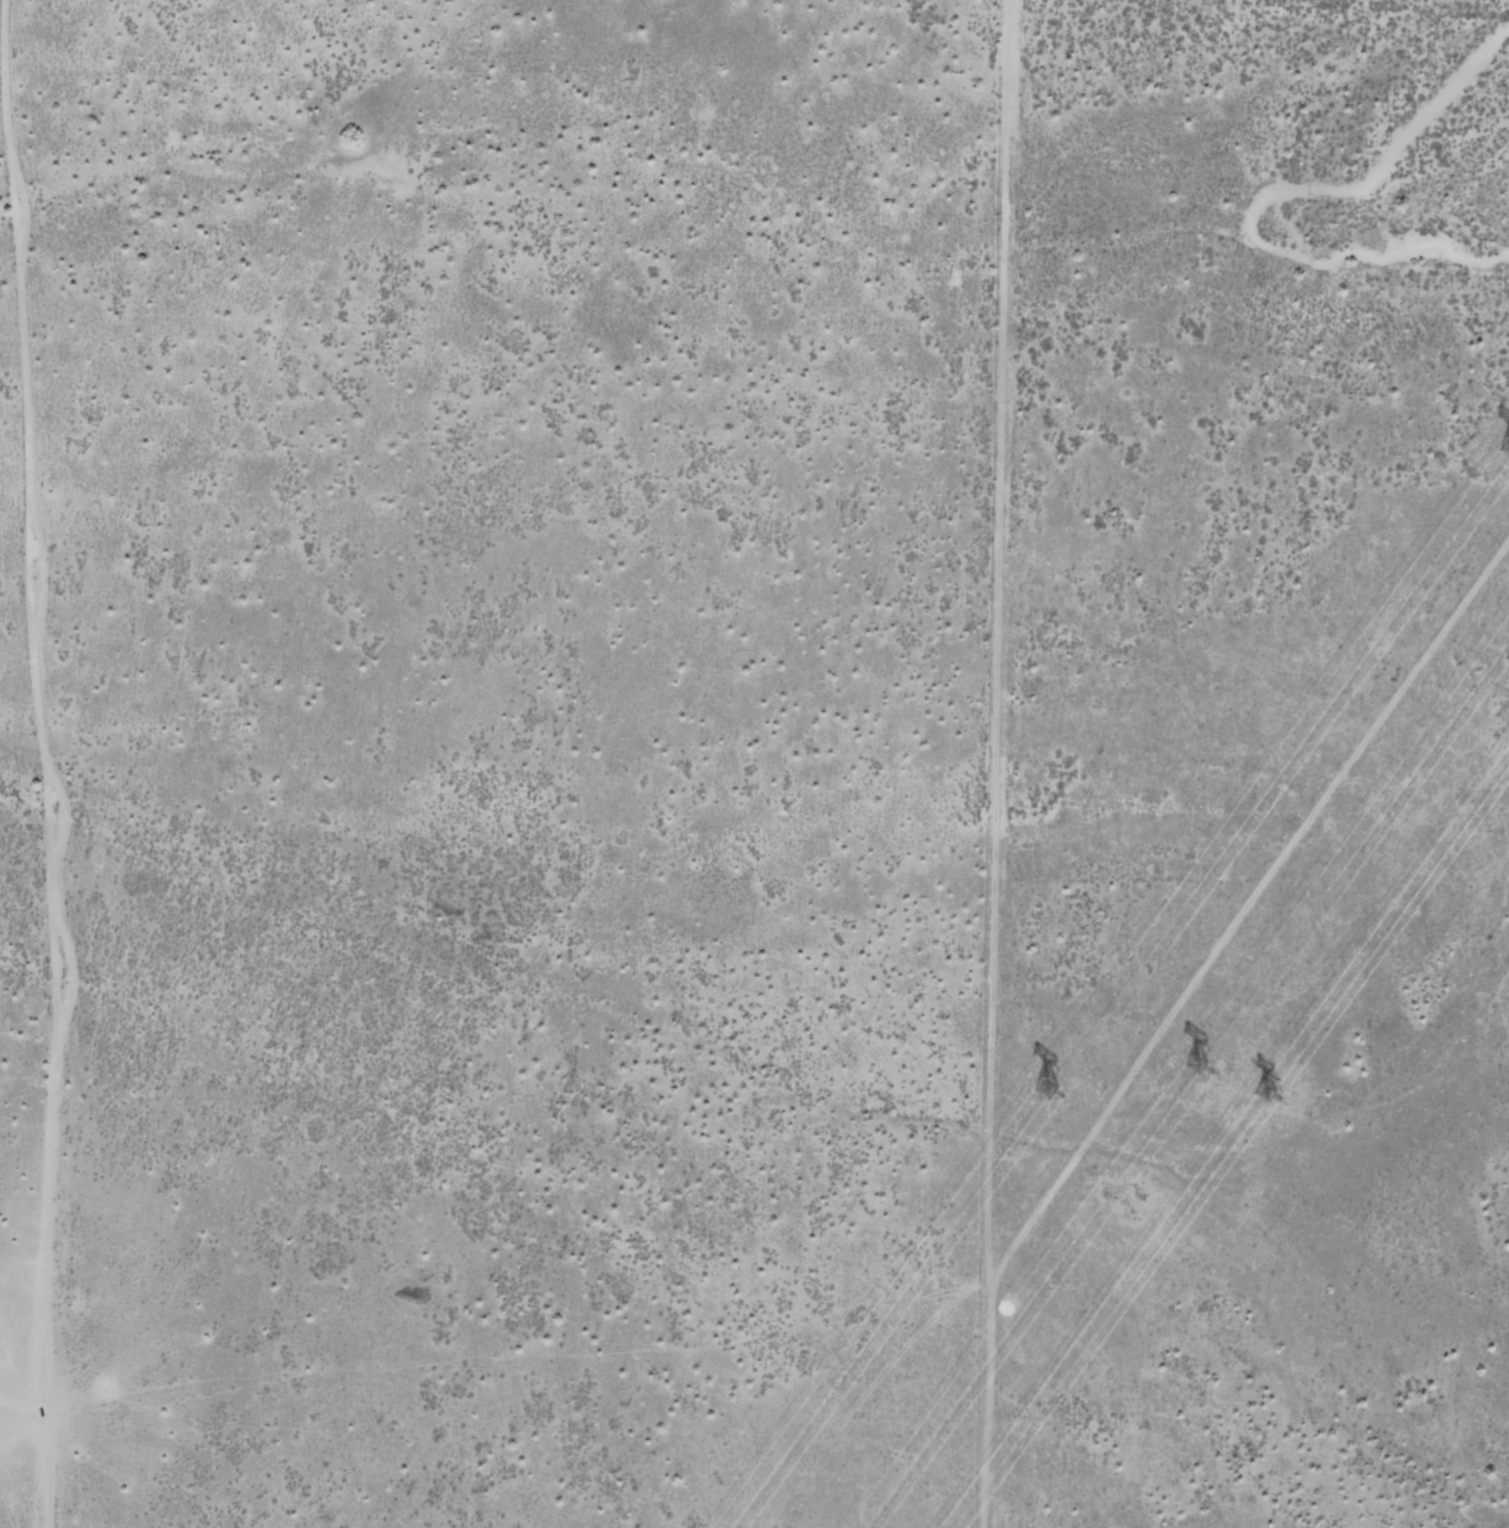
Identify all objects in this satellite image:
power tower: (1205, 1059)
power tower: (1056, 1078)
power tower: (1274, 1087)

